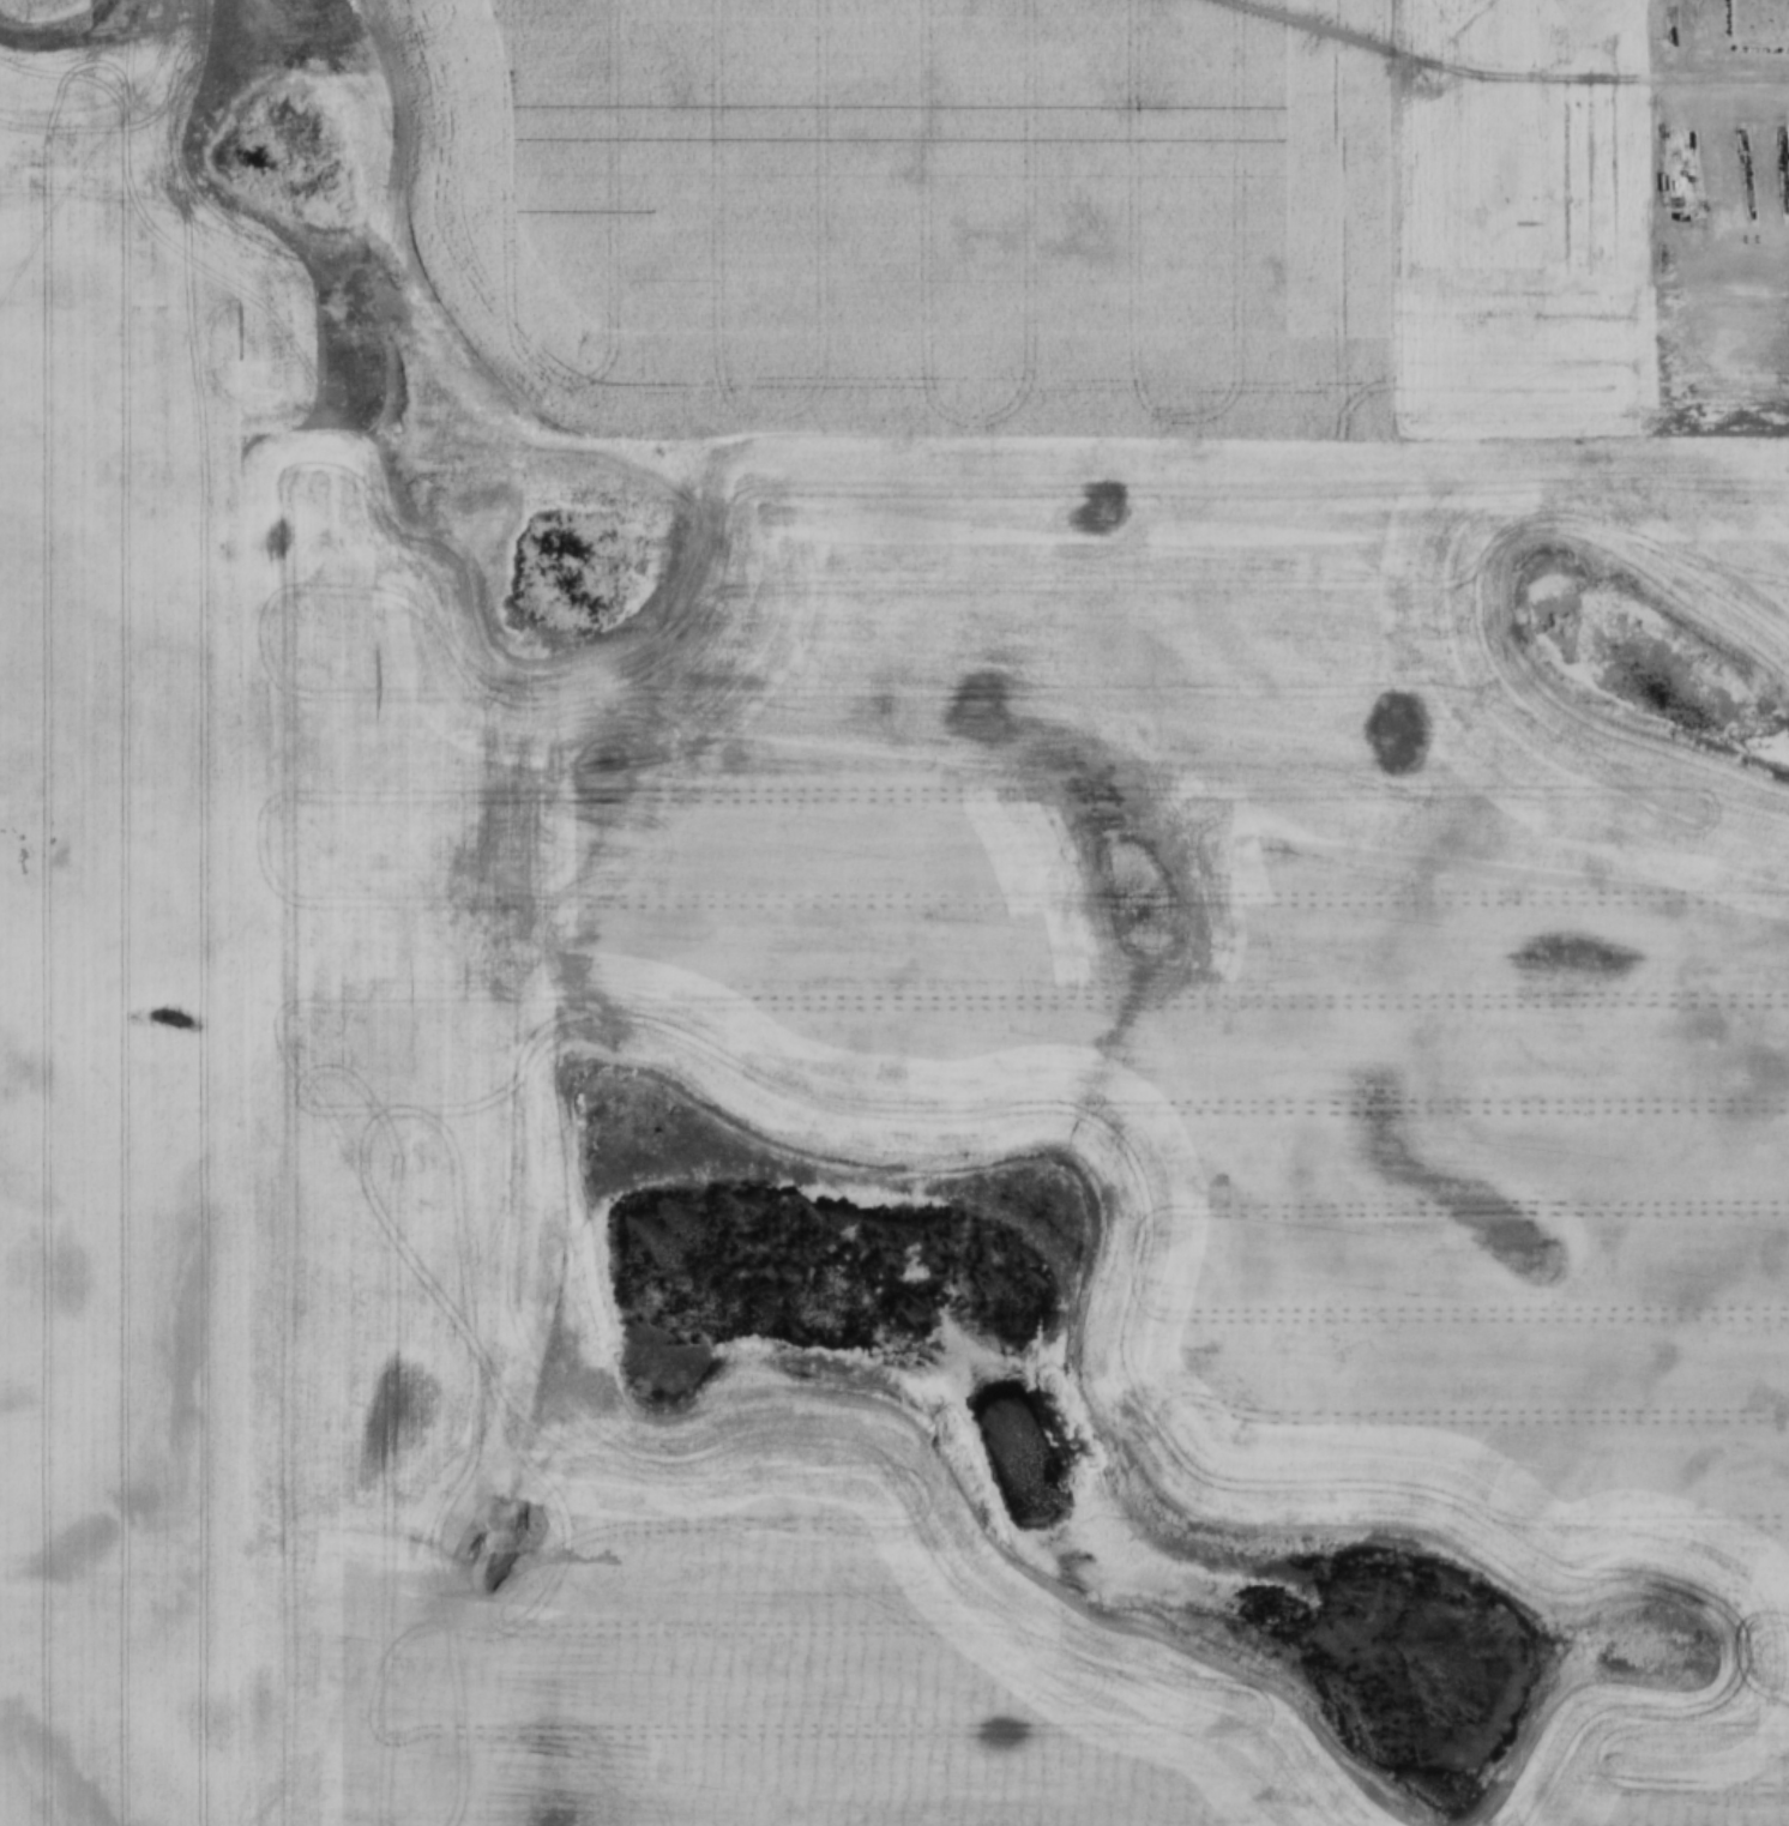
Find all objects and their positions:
building: (12, 1766)
building: (158, 1791)

